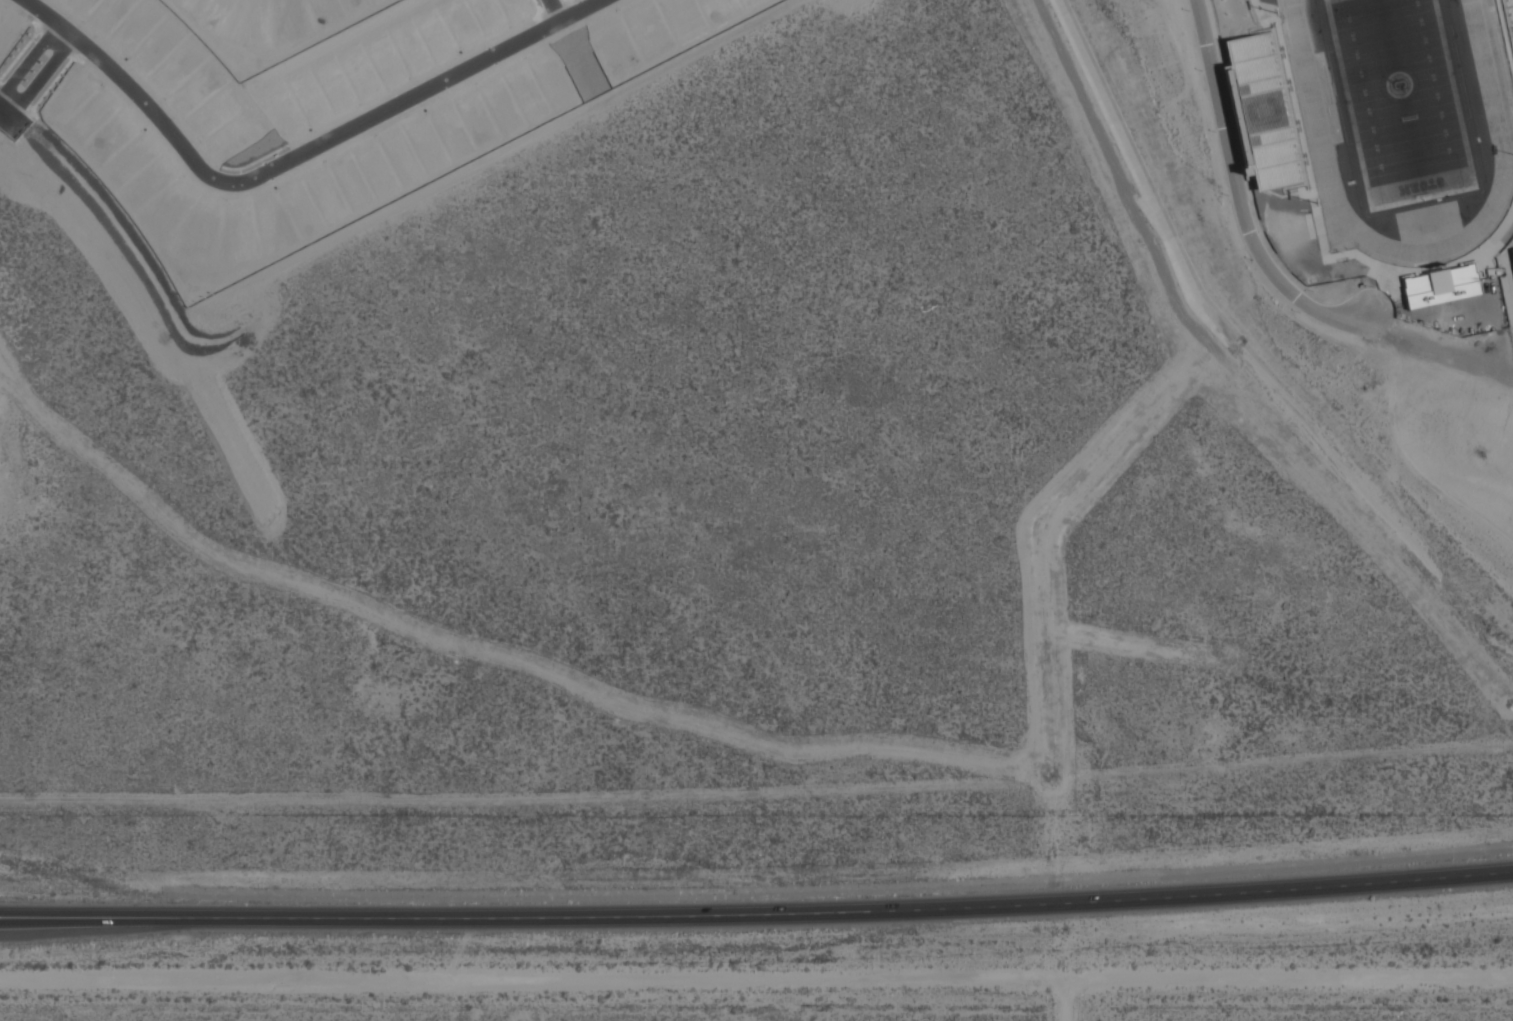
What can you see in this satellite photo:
road: (1253, 1)
road: (560, 10)
street lamp: (1188, 10)
building: (1508, 19)
road: (1505, 33)
street lamp: (1200, 71)
road: (48, 75)
road: (1291, 88)
road: (1224, 96)
park: (1400, 100)
track: (1401, 112)
track: (1498, 116)
track: (1403, 122)
street lamp: (1213, 133)
stadium: (1381, 145)
road: (301, 161)
road: (1236, 192)
street lamp: (1227, 197)
road: (99, 204)
road: (1498, 254)
building: (1511, 255)
street lamp: (1249, 261)
road: (1373, 262)
road: (1507, 273)
building: (1440, 287)
street lamp: (1371, 288)
street lamp: (1311, 292)
street lamp: (1297, 314)
building: (1356, 337)
street lamp: (1369, 343)
road: (757, 907)
road: (756, 979)
road: (1066, 1000)

